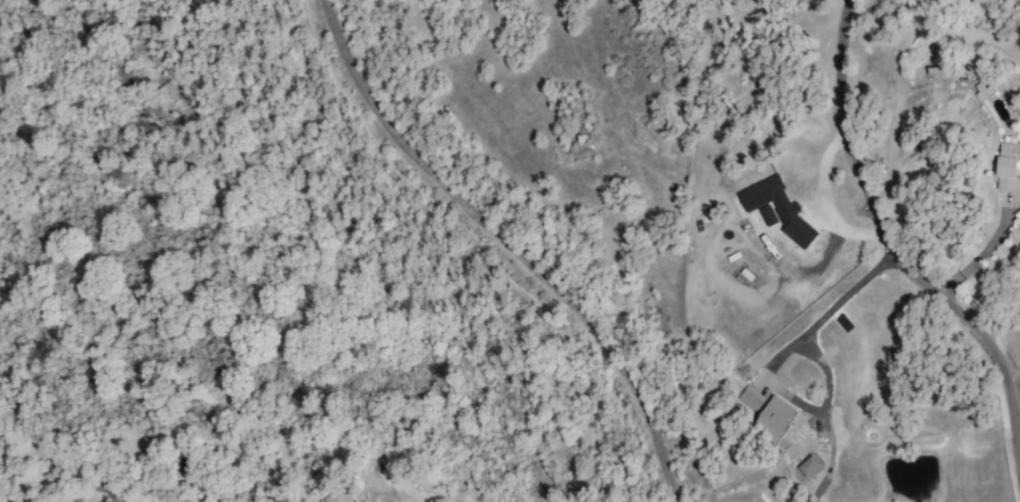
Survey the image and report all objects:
building: (1008, 164)
building: (778, 209)
building: (767, 215)
railway: (508, 244)
road: (893, 246)
road: (836, 303)
building: (750, 398)
building: (774, 418)
building: (807, 466)
building: (340, 498)
building: (362, 501)

